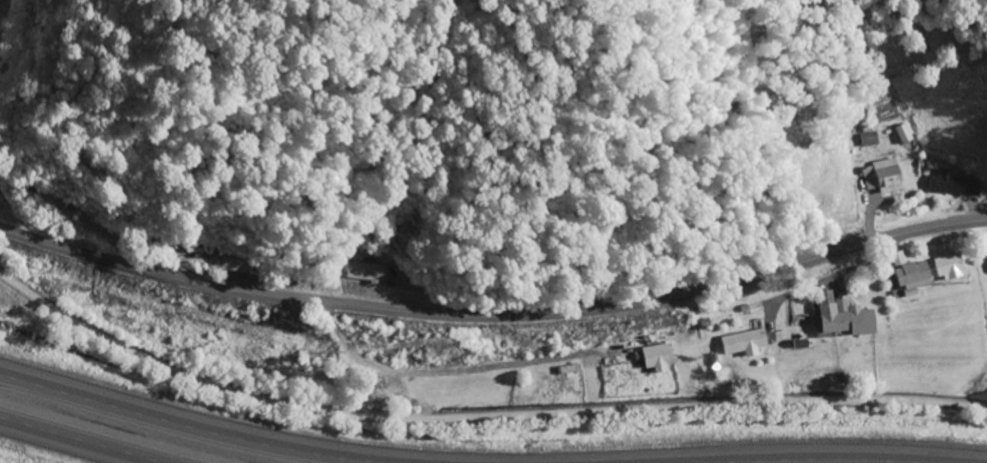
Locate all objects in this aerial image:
building: (886, 177)
building: (955, 183)
building: (57, 206)
building: (159, 243)
building: (237, 264)
building: (949, 267)
building: (364, 273)
building: (913, 275)
building: (846, 319)
road: (494, 323)
building: (746, 343)
building: (661, 358)
road: (478, 421)
road: (160, 428)
road: (73, 442)

